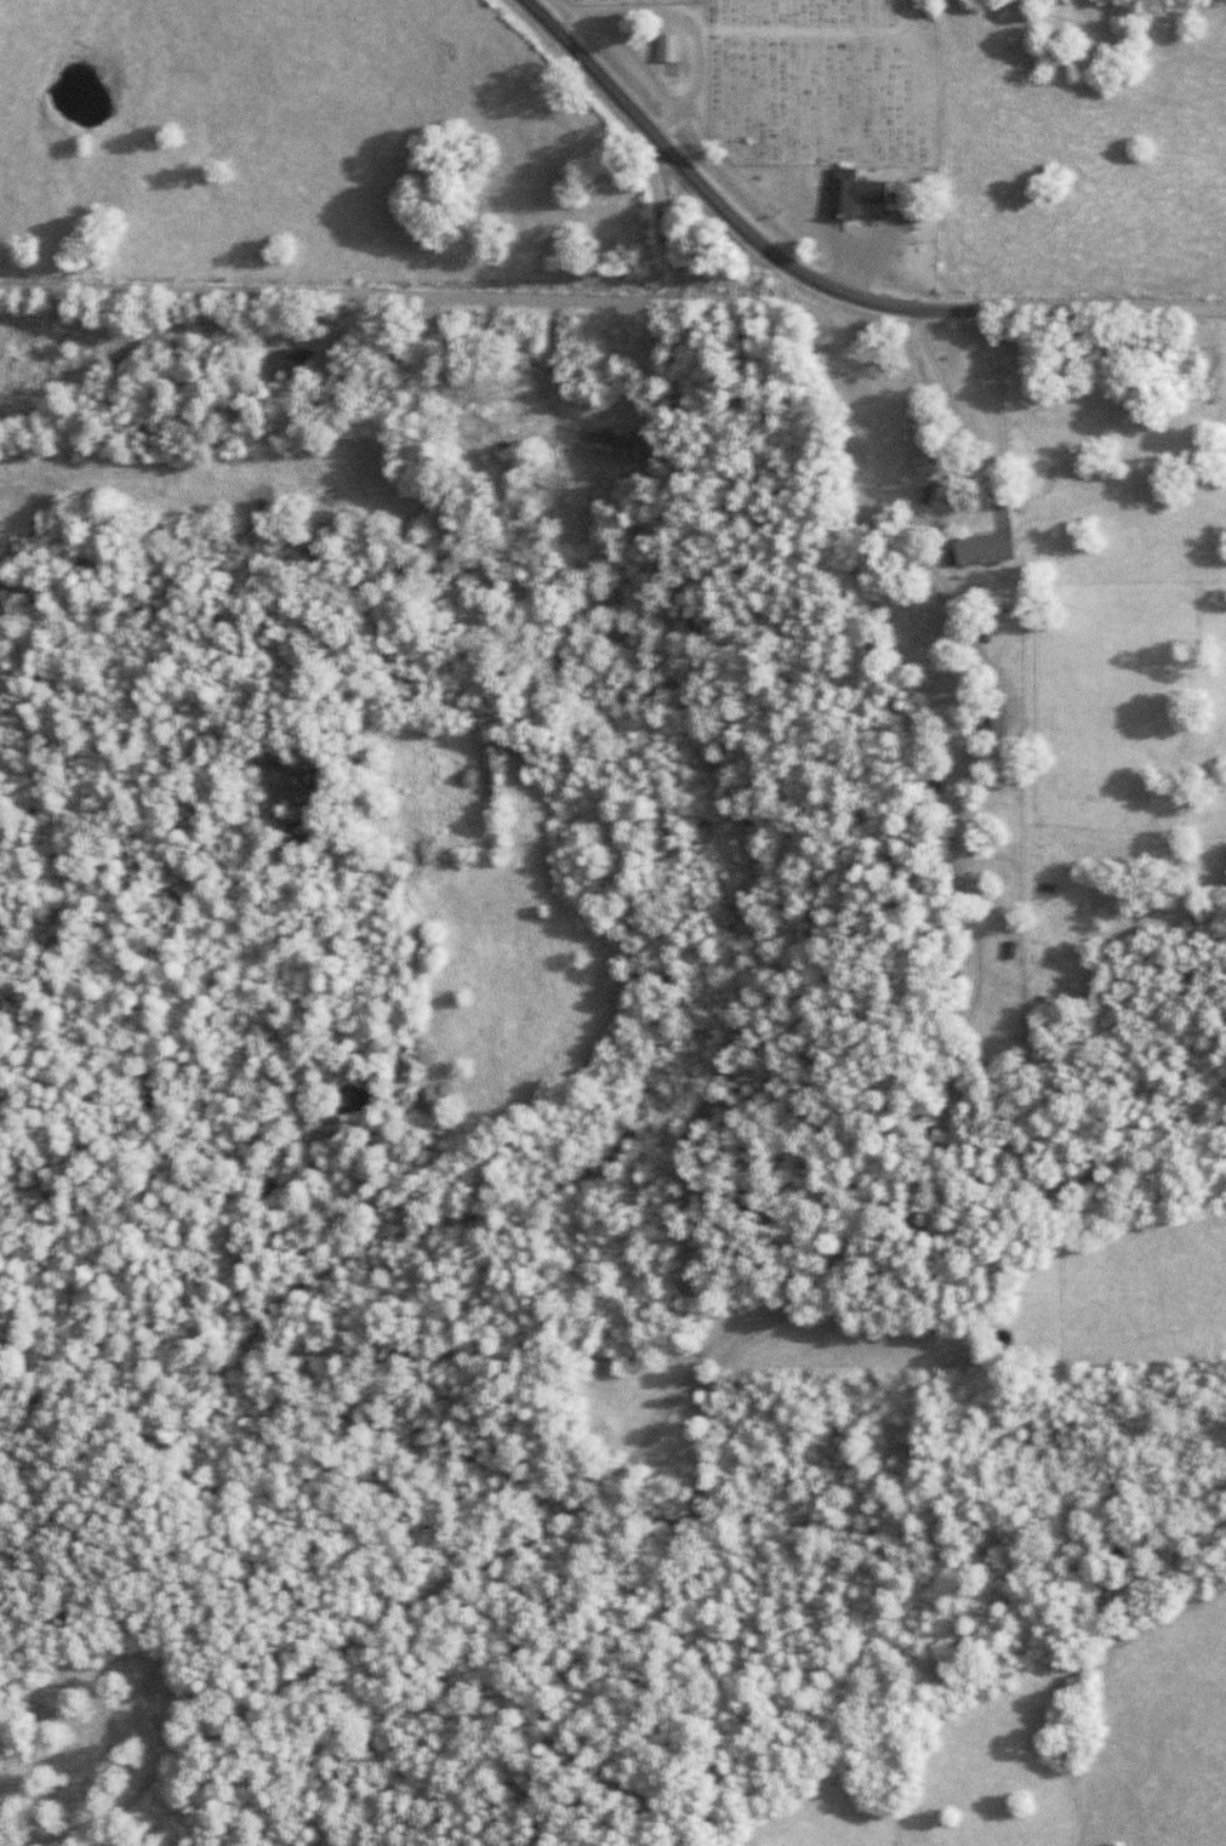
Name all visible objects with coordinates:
building: (671, 51)
road: (589, 70)
building: (671, 74)
park: (819, 81)
building: (856, 199)
road: (412, 295)
road: (912, 307)
building: (501, 412)
building: (991, 551)

